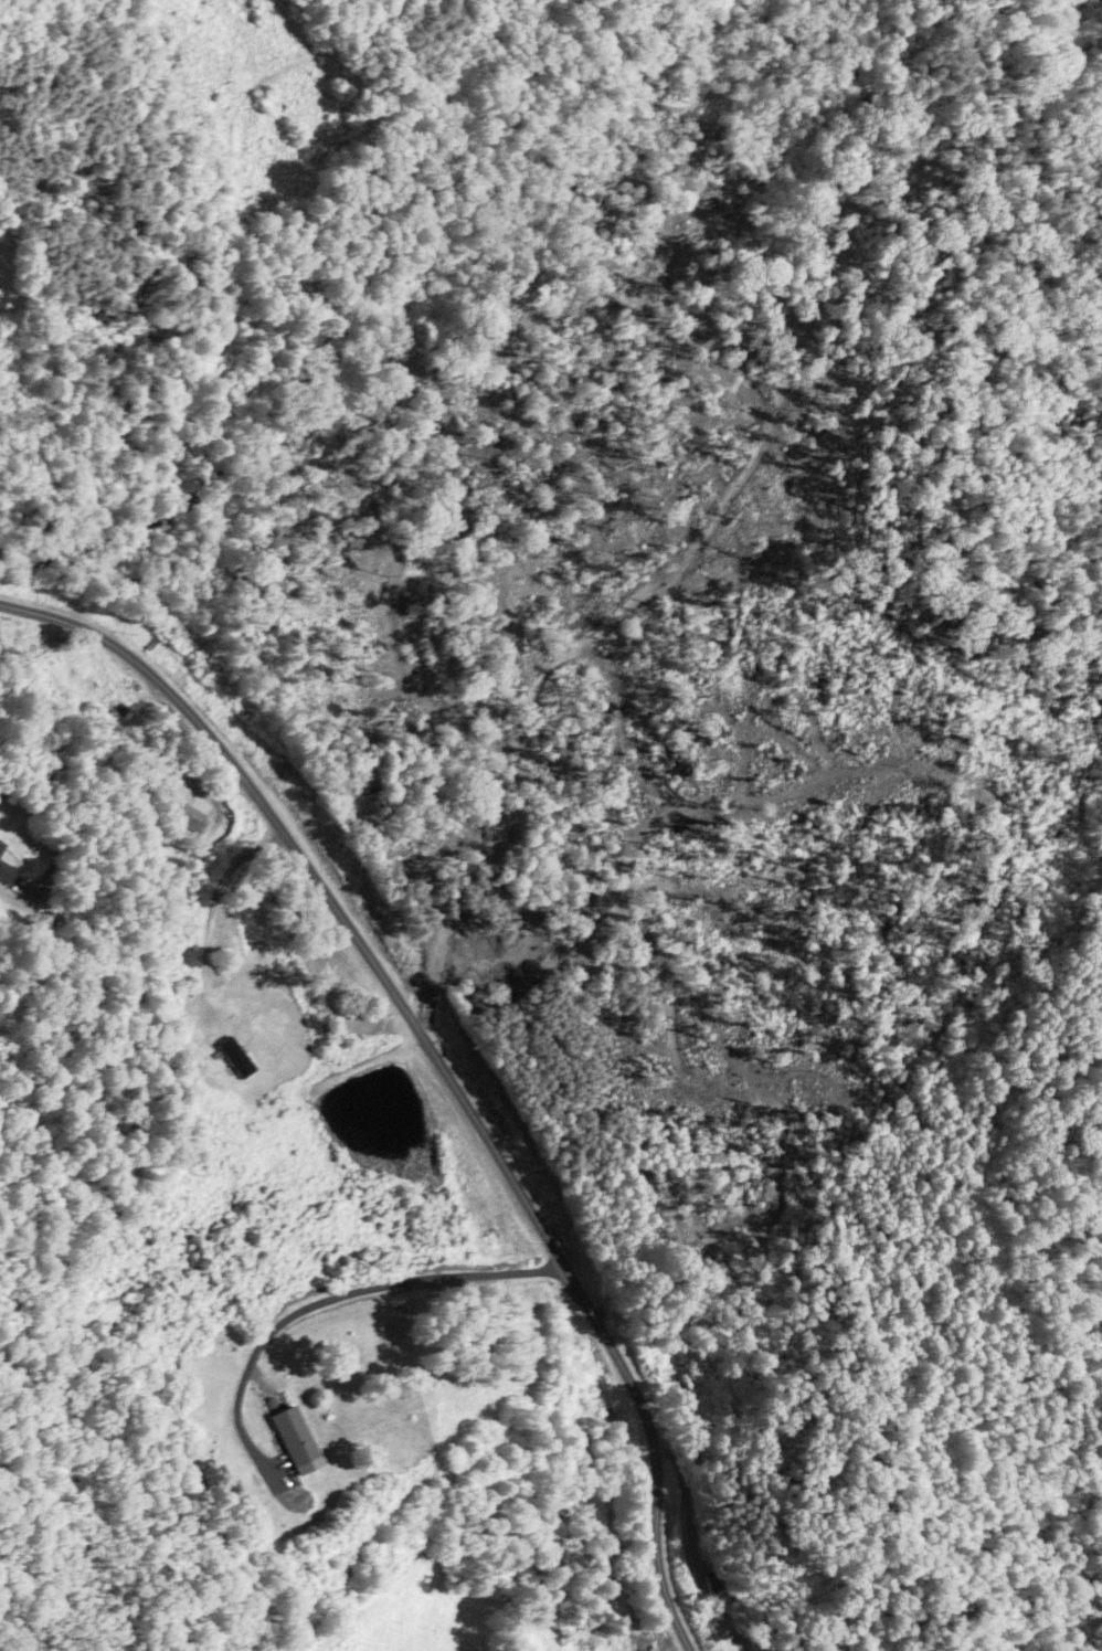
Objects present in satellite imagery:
road: (226, 339)
river: (437, 342)
river: (22, 542)
building: (169, 727)
building: (189, 815)
building: (1, 846)
building: (6, 872)
building: (233, 1058)
road: (439, 1061)
road: (326, 1300)
building: (293, 1436)
building: (712, 1581)

